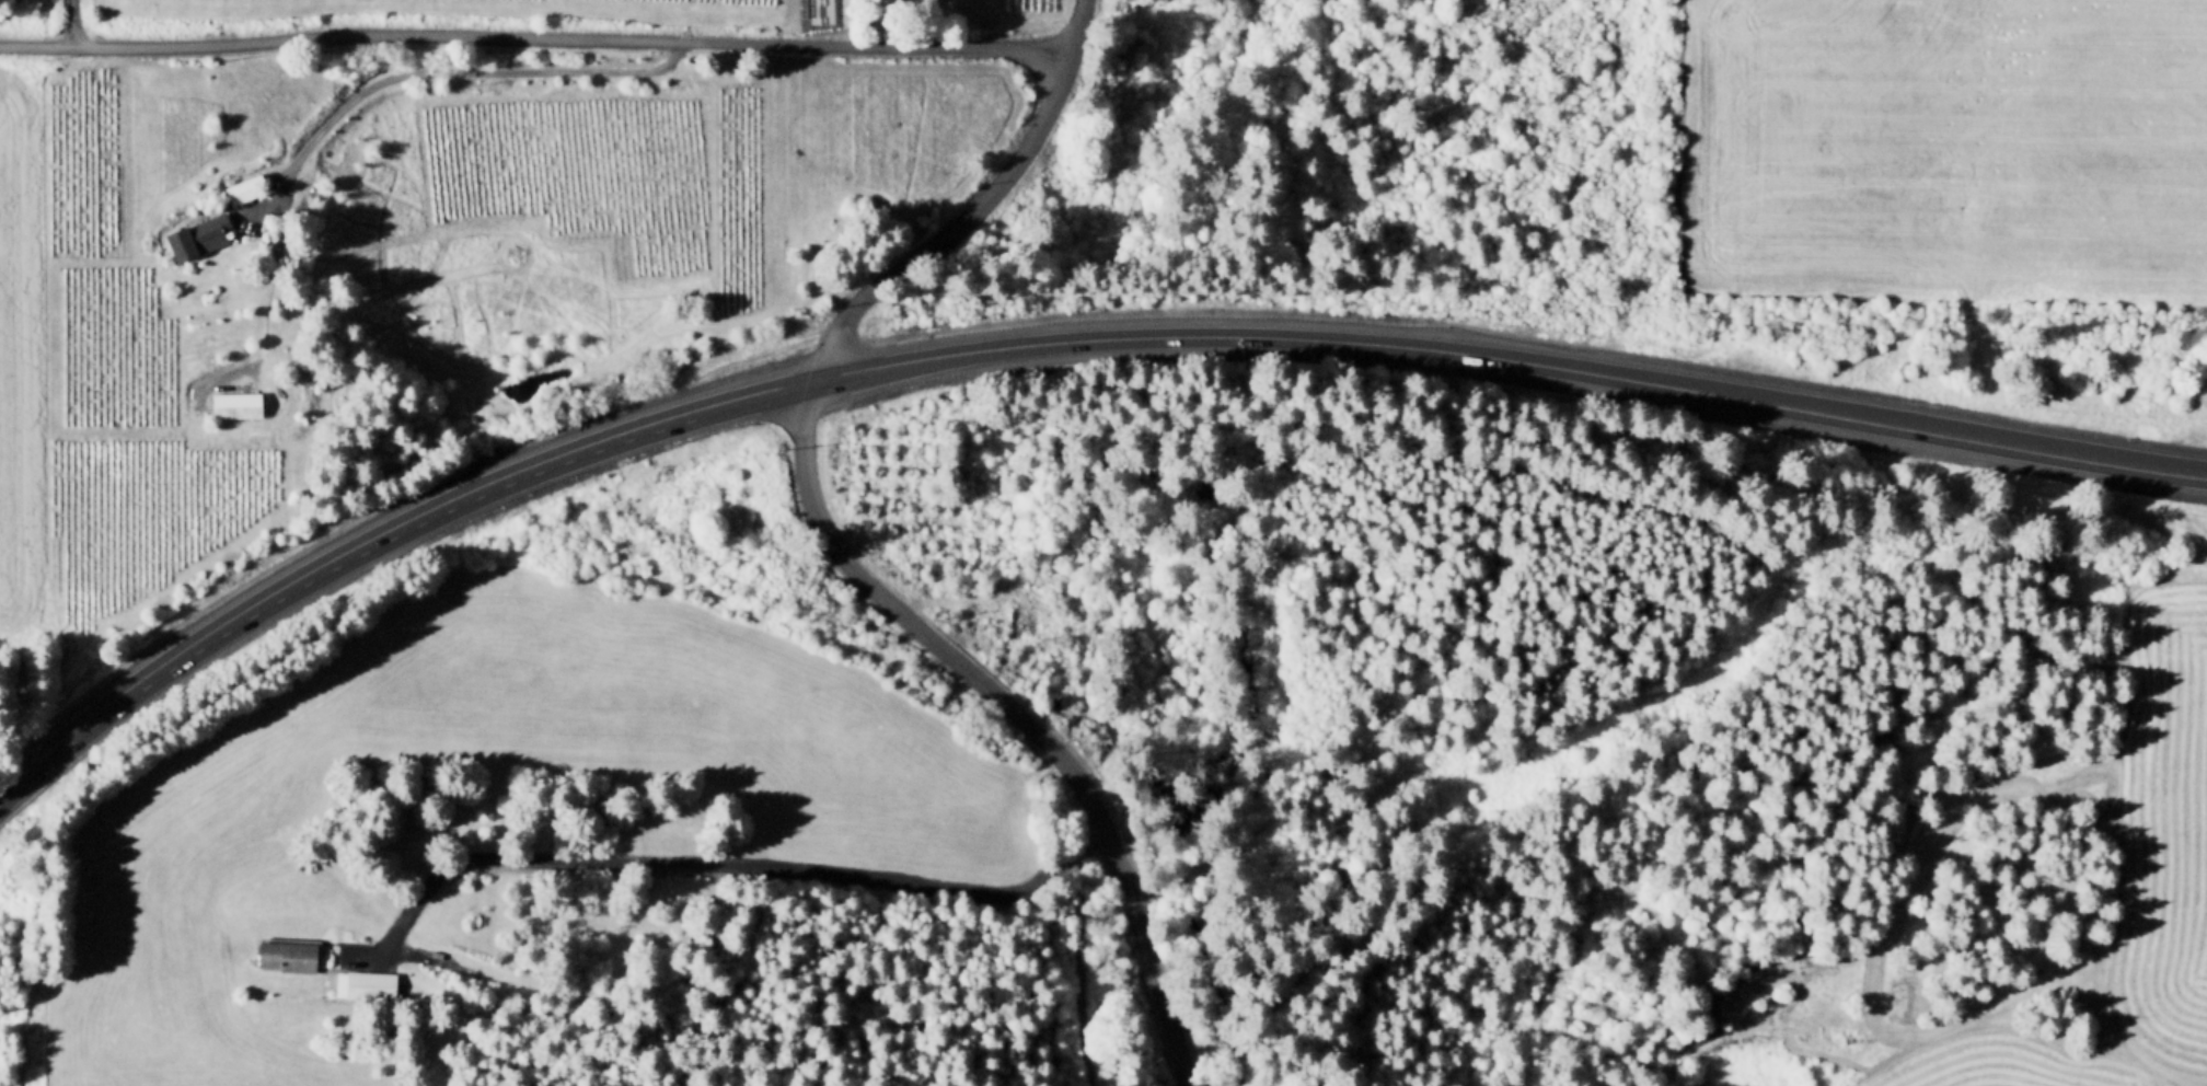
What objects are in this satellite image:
crop: (740, 2)
road: (77, 22)
road: (874, 22)
road: (538, 37)
road: (347, 107)
crop: (1936, 149)
crop: (797, 159)
crop: (86, 160)
crop: (566, 171)
building: (249, 189)
road: (983, 201)
road: (262, 207)
building: (208, 233)
crop: (104, 343)
crop: (11, 354)
road: (1507, 362)
building: (240, 405)
crop: (137, 510)
road: (375, 535)
building: (1027, 614)
road: (1017, 710)
crop: (2144, 830)
crop: (879, 834)
road: (692, 864)
building: (424, 947)
building: (288, 950)
road: (1076, 950)
building: (423, 956)
building: (448, 959)
building: (401, 980)
building: (367, 982)
building: (418, 1052)
road: (1870, 1070)

